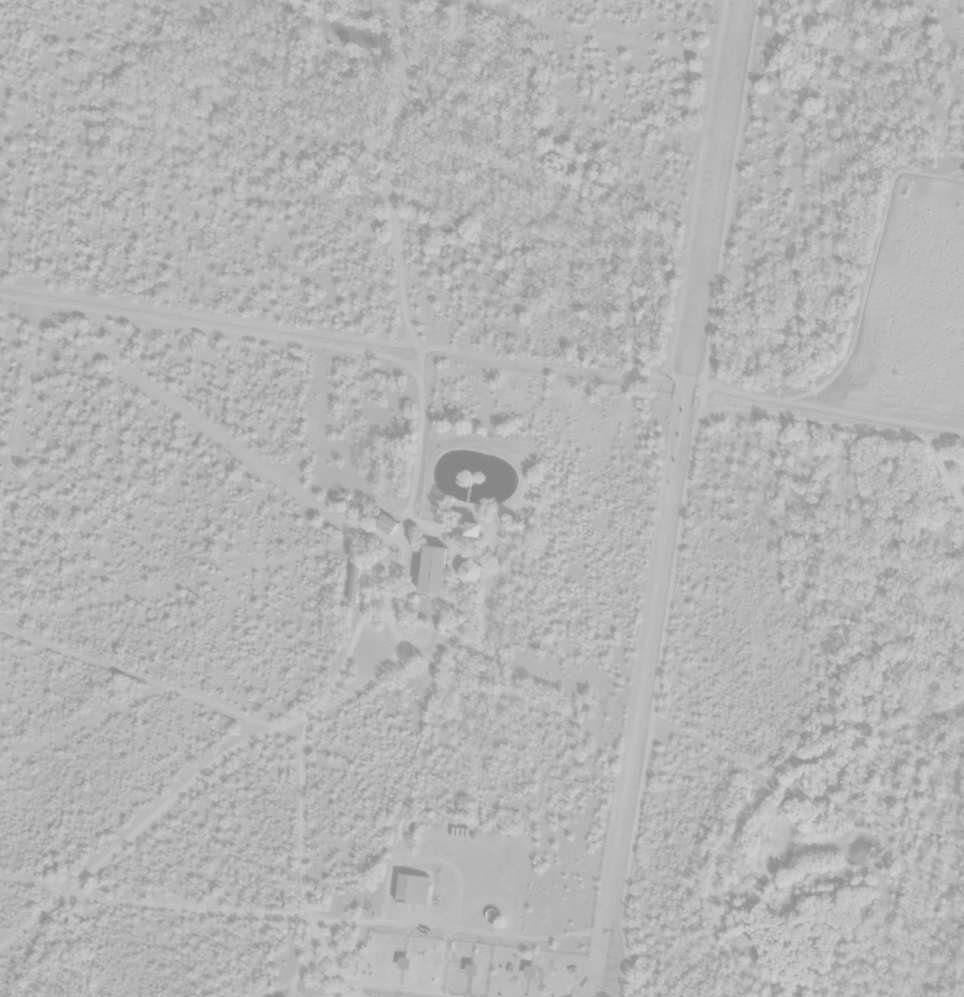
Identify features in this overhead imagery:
building: (385, 524)
building: (472, 529)
building: (431, 570)
building: (468, 573)
building: (352, 583)
building: (412, 890)
road: (279, 903)

